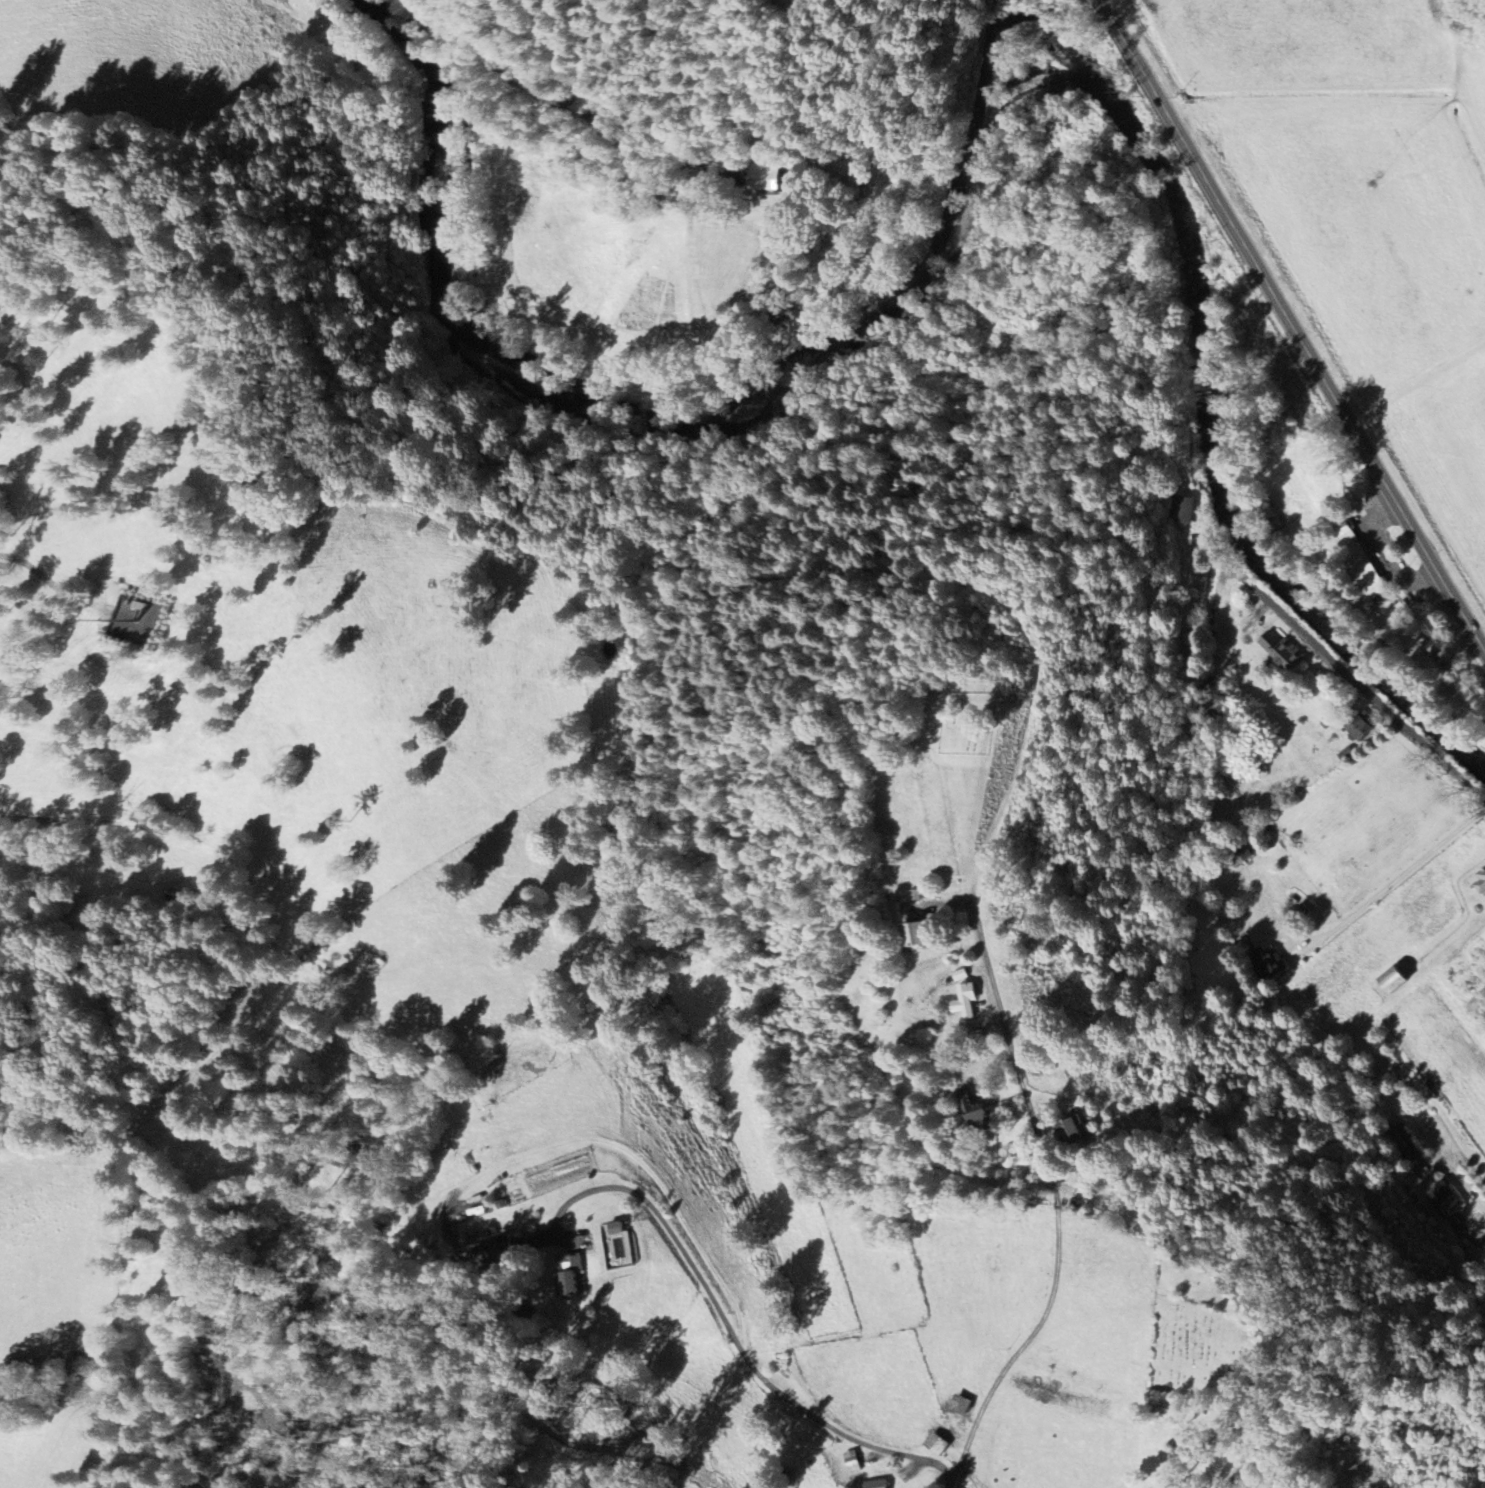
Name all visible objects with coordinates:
road: (570, 62)
road: (499, 70)
building: (766, 177)
building: (782, 313)
road: (1293, 324)
building: (1182, 509)
building: (1274, 514)
building: (1362, 564)
building: (1286, 652)
building: (1443, 654)
road: (1357, 685)
park: (966, 722)
building: (1369, 731)
building: (1242, 851)
building: (1483, 874)
road: (1404, 877)
building: (1483, 885)
building: (924, 933)
building: (1271, 965)
building: (1400, 979)
building: (969, 1001)
road: (1002, 1011)
building: (1083, 1126)
building: (1403, 1144)
building: (1448, 1201)
building: (620, 1227)
building: (497, 1252)
building: (573, 1275)
park: (1200, 1349)
road: (762, 1380)
building: (941, 1444)
building: (854, 1461)
building: (878, 1484)

